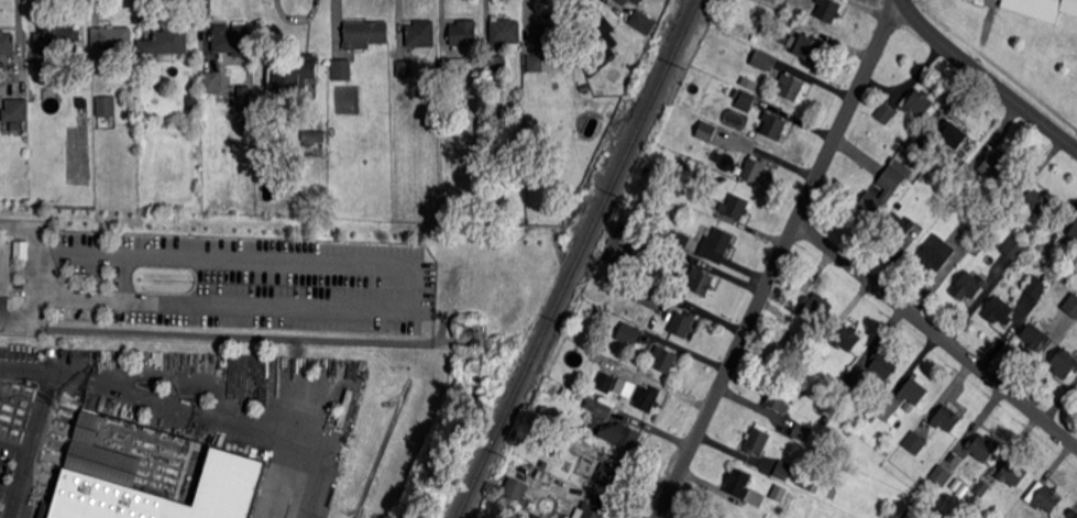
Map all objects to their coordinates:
building: (981, 0)
building: (985, 0)
building: (638, 1)
building: (623, 2)
building: (1060, 4)
building: (828, 10)
building: (787, 20)
building: (642, 22)
building: (504, 32)
building: (464, 33)
building: (365, 34)
building: (421, 34)
building: (58, 38)
building: (601, 38)
building: (754, 38)
building: (111, 40)
building: (232, 40)
building: (7, 43)
building: (165, 43)
building: (809, 47)
building: (550, 51)
building: (762, 60)
building: (494, 65)
building: (341, 69)
building: (405, 69)
building: (453, 70)
building: (293, 76)
road: (986, 77)
building: (213, 81)
building: (497, 81)
building: (749, 82)
building: (791, 87)
building: (736, 92)
building: (422, 93)
building: (245, 98)
building: (193, 101)
building: (747, 101)
building: (919, 102)
building: (384, 104)
building: (107, 106)
building: (17, 110)
building: (884, 113)
building: (773, 125)
building: (248, 126)
building: (707, 132)
building: (953, 134)
building: (921, 144)
building: (314, 145)
building: (902, 167)
building: (993, 167)
building: (755, 168)
building: (504, 177)
building: (717, 178)
building: (888, 194)
building: (1035, 201)
building: (101, 202)
building: (735, 207)
building: (1003, 210)
building: (900, 227)
building: (1074, 228)
building: (681, 239)
building: (719, 241)
building: (641, 242)
building: (969, 242)
building: (1014, 246)
building: (20, 249)
building: (977, 250)
building: (937, 253)
building: (673, 255)
railway: (579, 258)
road: (779, 258)
road: (37, 267)
building: (4, 268)
road: (123, 277)
building: (1047, 278)
building: (1076, 278)
building: (702, 282)
building: (967, 287)
building: (1036, 287)
road: (417, 289)
building: (651, 296)
building: (1071, 305)
building: (815, 309)
building: (1000, 311)
building: (684, 323)
road: (937, 333)
building: (630, 334)
building: (847, 338)
building: (1036, 338)
building: (793, 339)
building: (666, 360)
building: (1065, 364)
building: (882, 365)
road: (227, 377)
building: (605, 382)
building: (851, 384)
building: (623, 386)
building: (913, 392)
building: (778, 397)
building: (648, 398)
road: (21, 404)
building: (909, 407)
building: (603, 409)
building: (883, 410)
road: (39, 418)
road: (222, 418)
building: (947, 419)
building: (849, 421)
building: (803, 432)
building: (847, 432)
building: (619, 436)
building: (757, 441)
building: (915, 442)
road: (14, 448)
building: (981, 449)
building: (910, 456)
building: (103, 465)
building: (1013, 472)
building: (942, 475)
building: (608, 477)
building: (796, 478)
building: (740, 482)
building: (982, 488)
road: (8, 491)
building: (514, 492)
building: (833, 494)
building: (1044, 497)
building: (592, 510)
building: (1071, 514)
building: (537, 516)
building: (946, 516)

